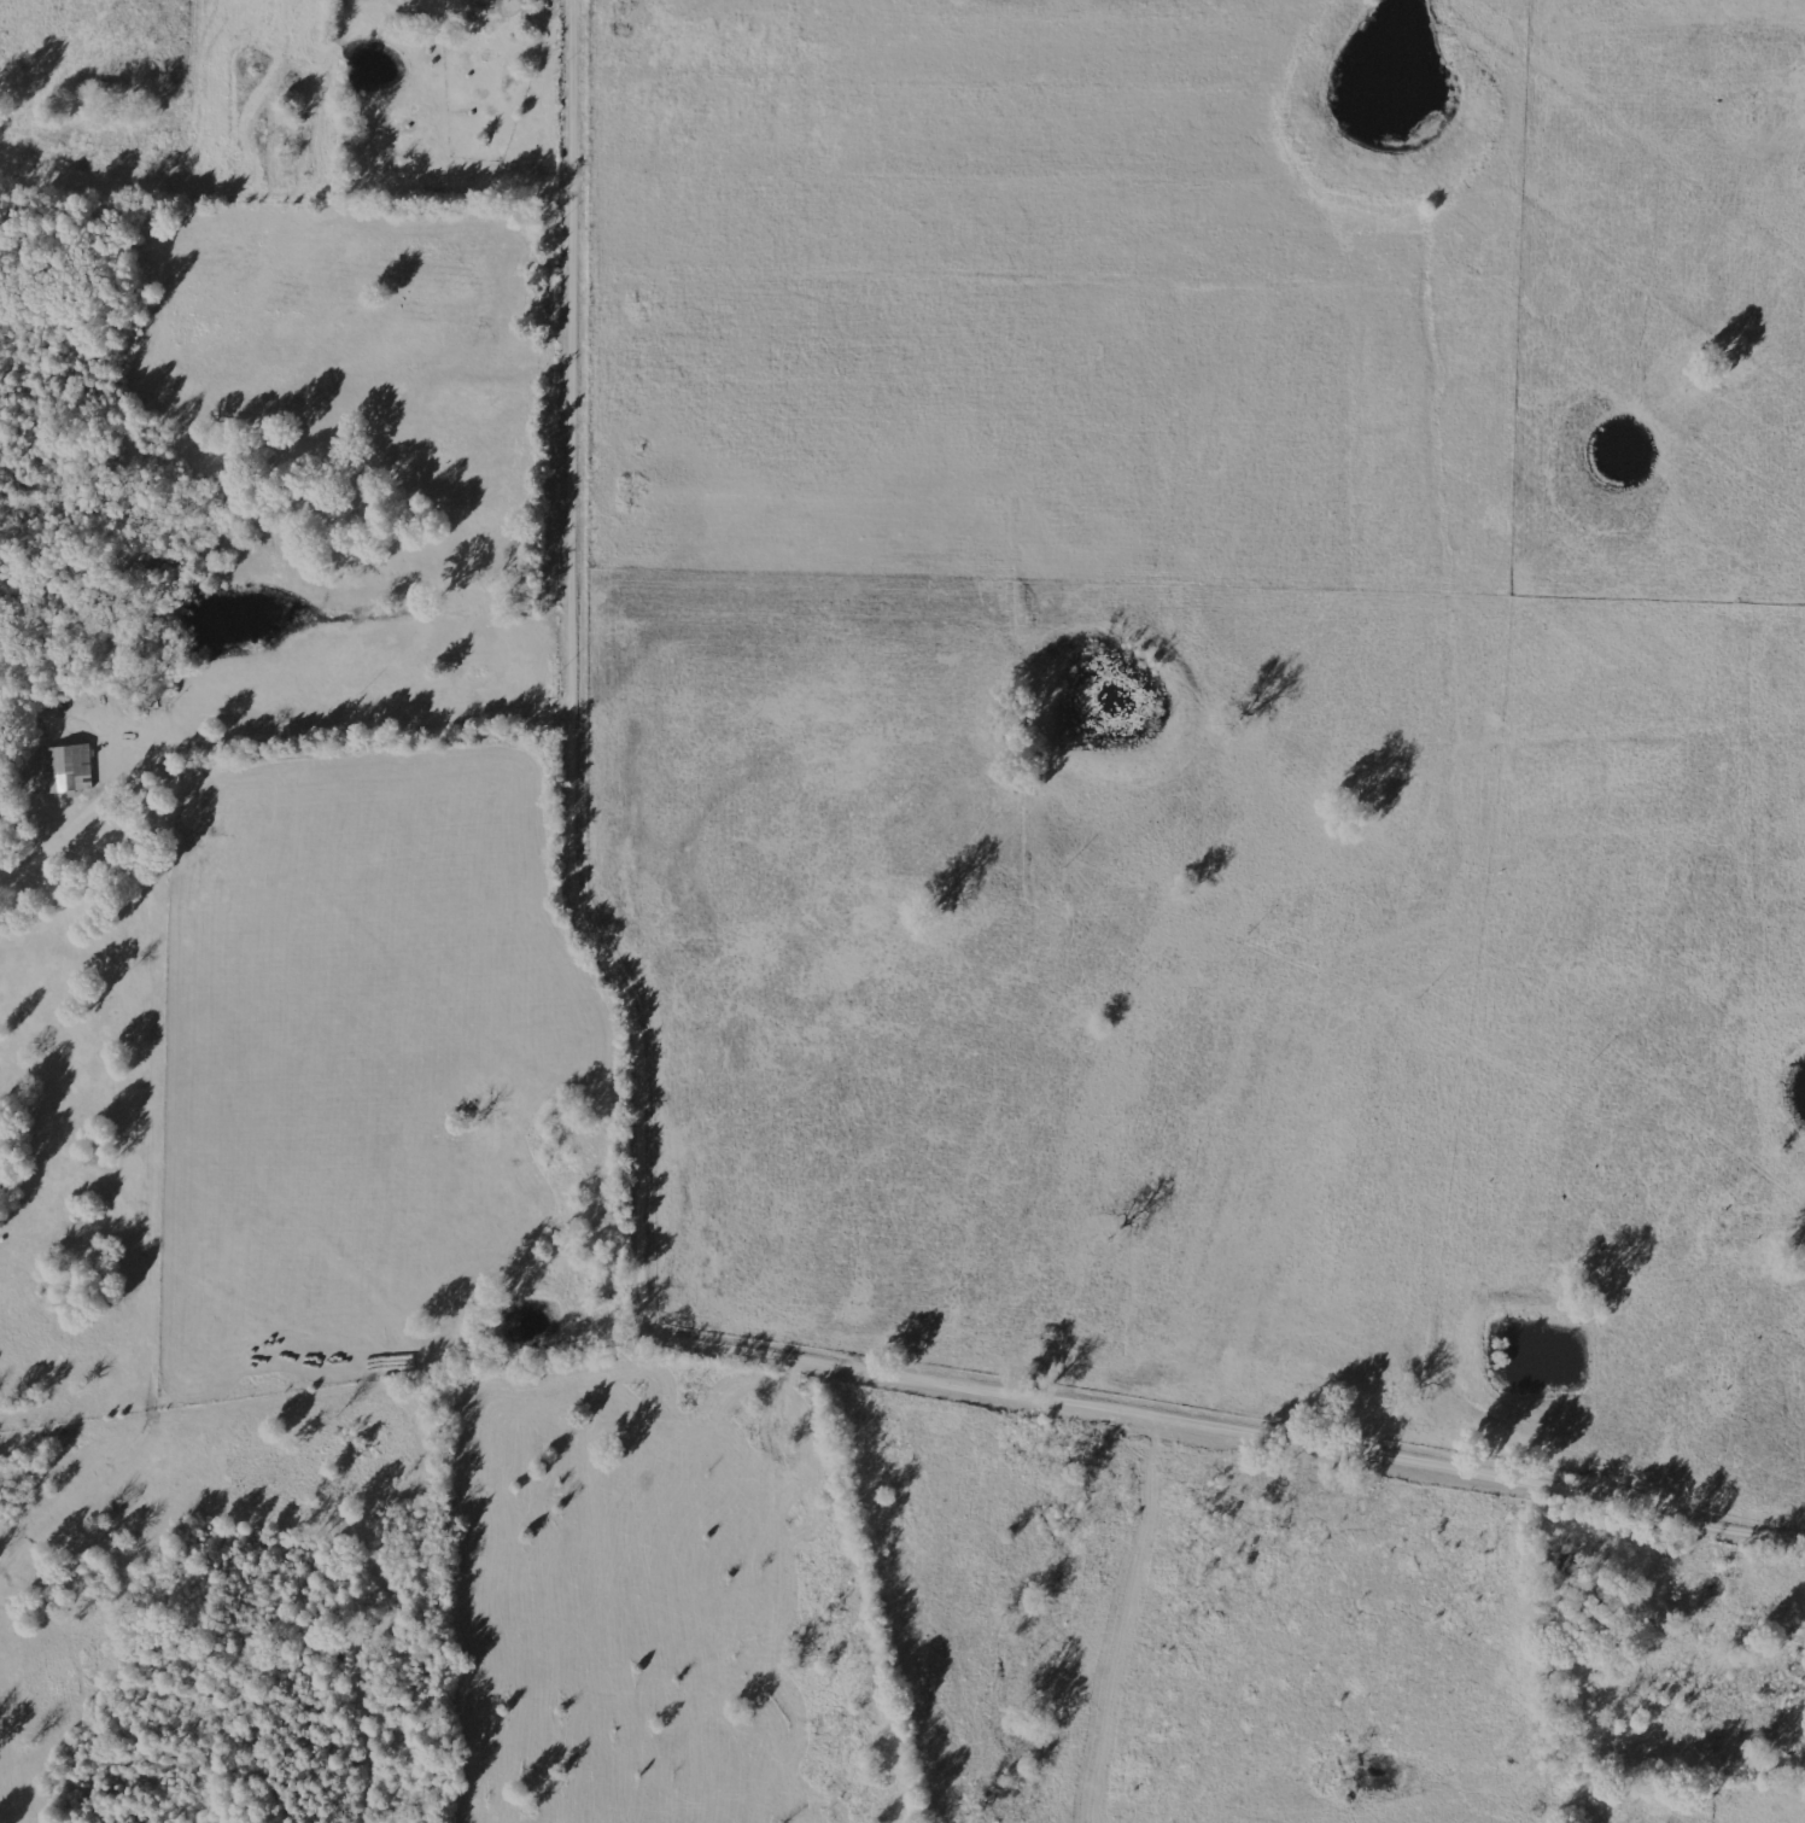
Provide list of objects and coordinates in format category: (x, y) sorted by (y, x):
building: (68, 770)
road: (606, 942)
road: (1500, 1474)

